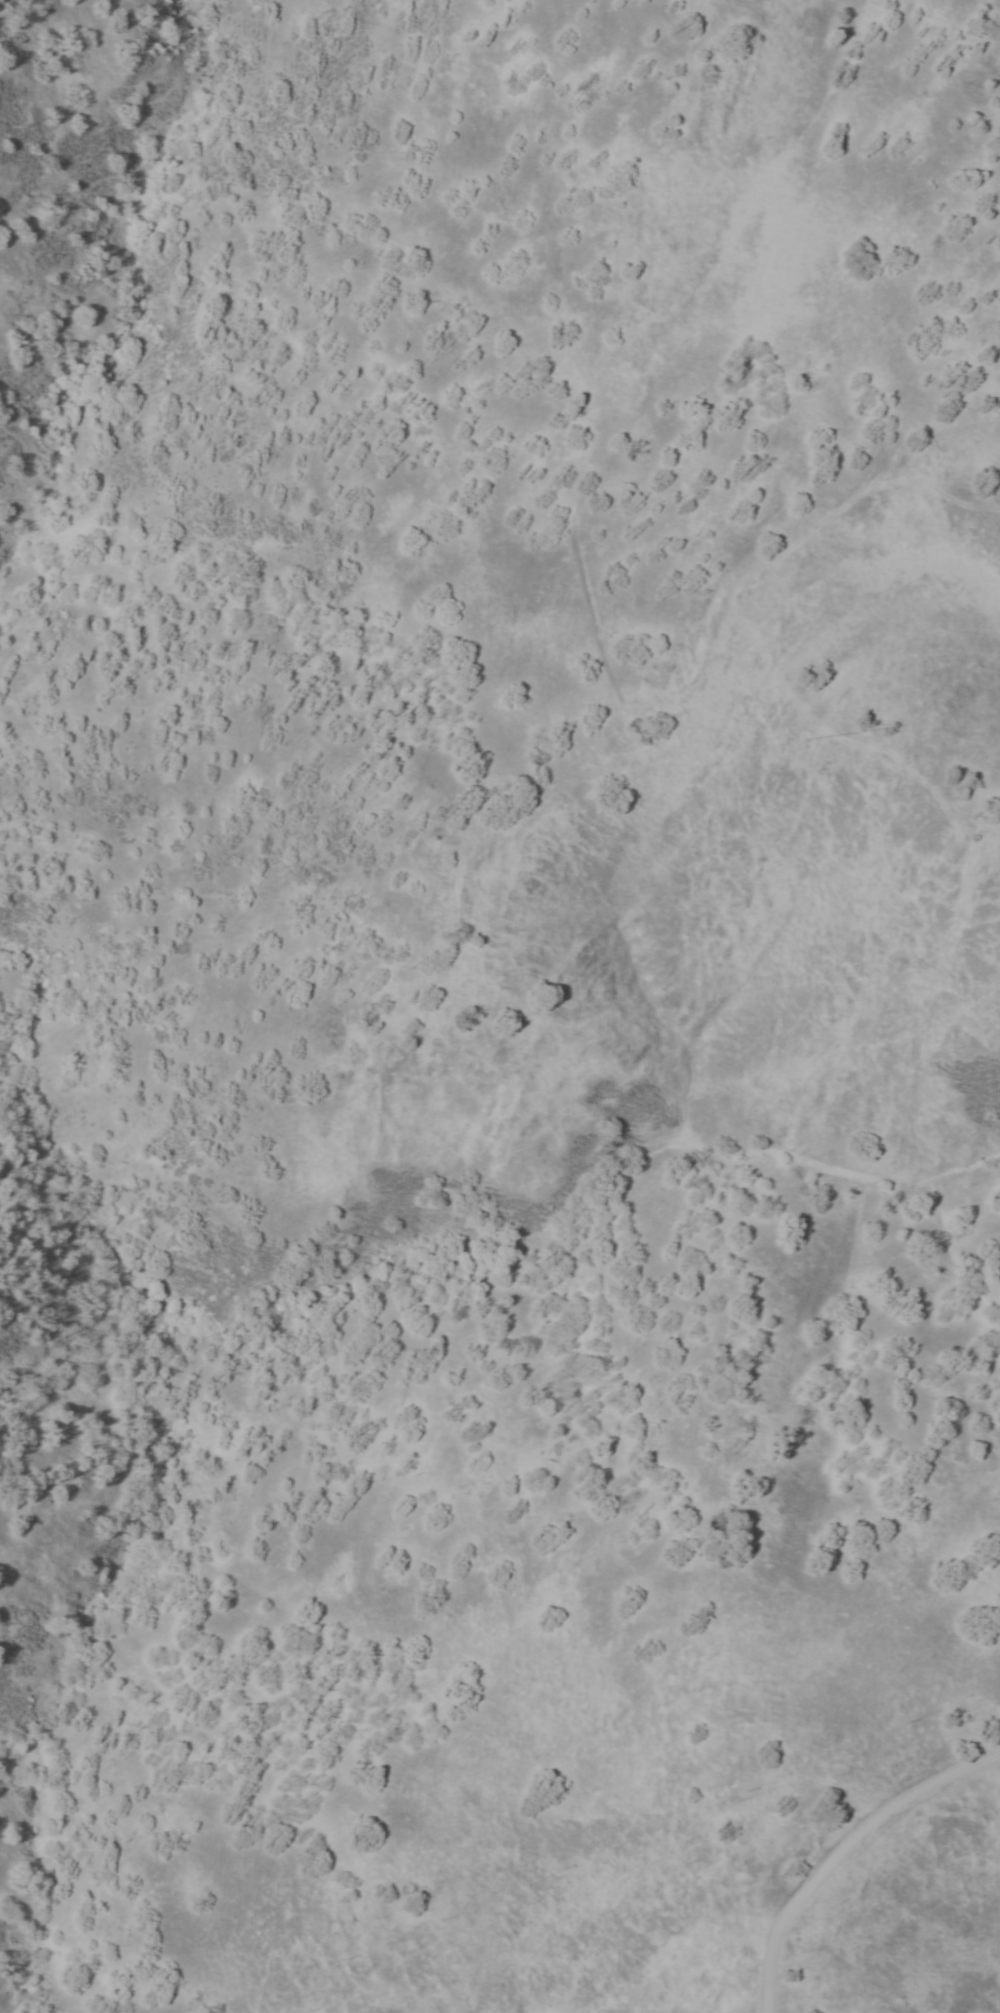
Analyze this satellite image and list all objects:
road: (770, 559)
road: (588, 608)
road: (840, 1848)

